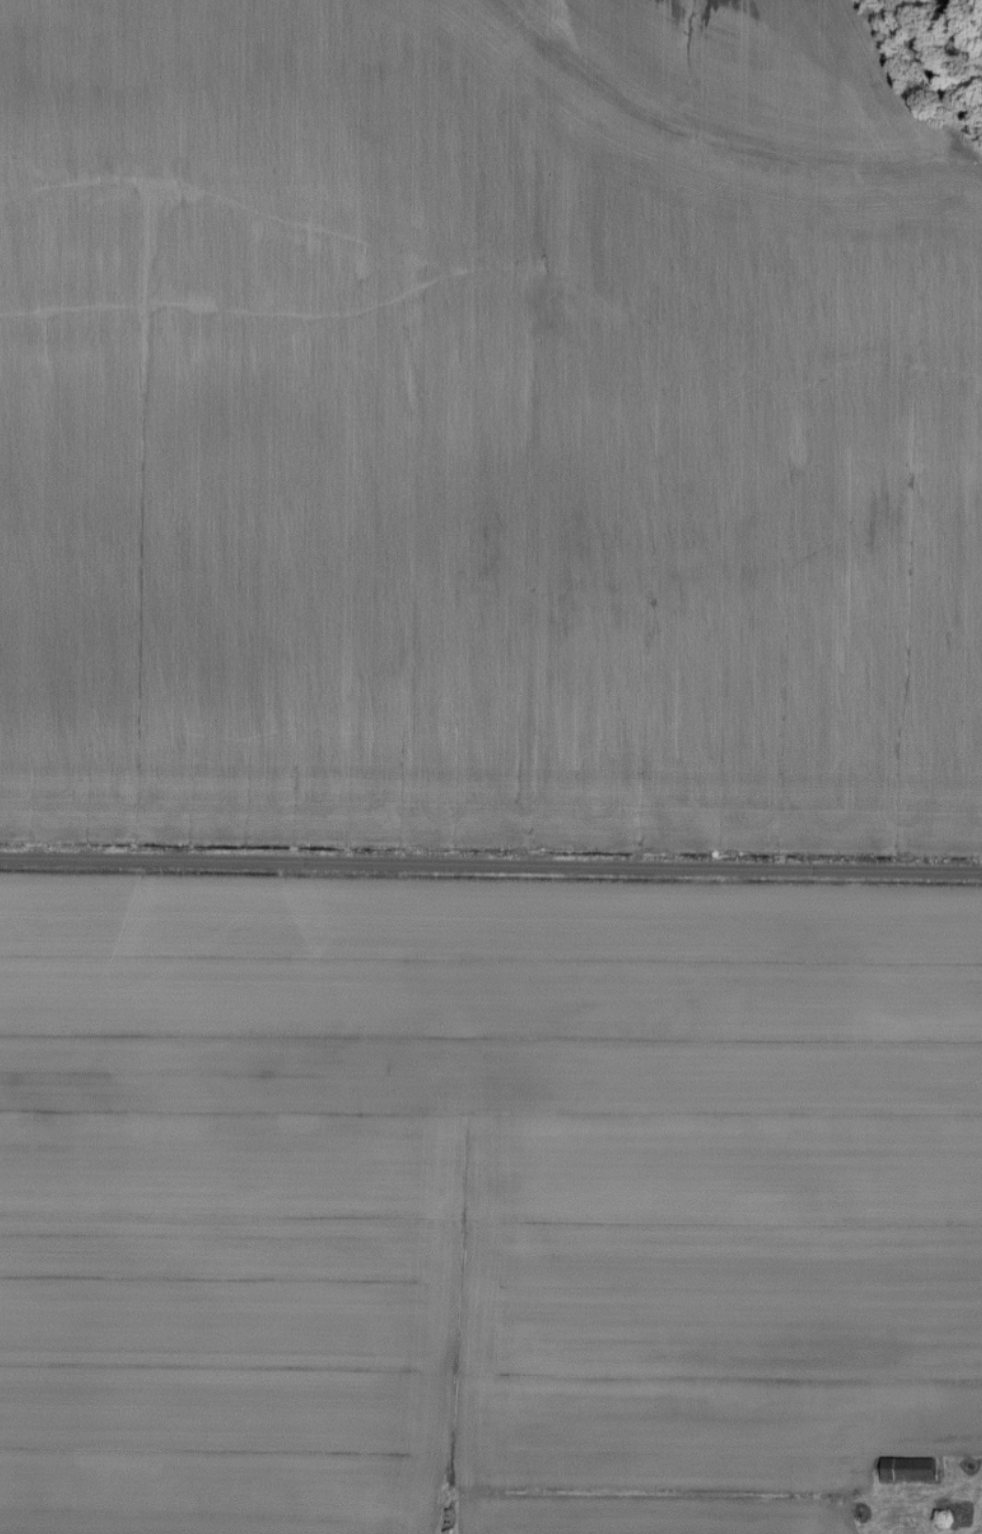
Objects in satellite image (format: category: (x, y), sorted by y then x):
road: (943, 57)
road: (491, 865)
building: (910, 1470)

